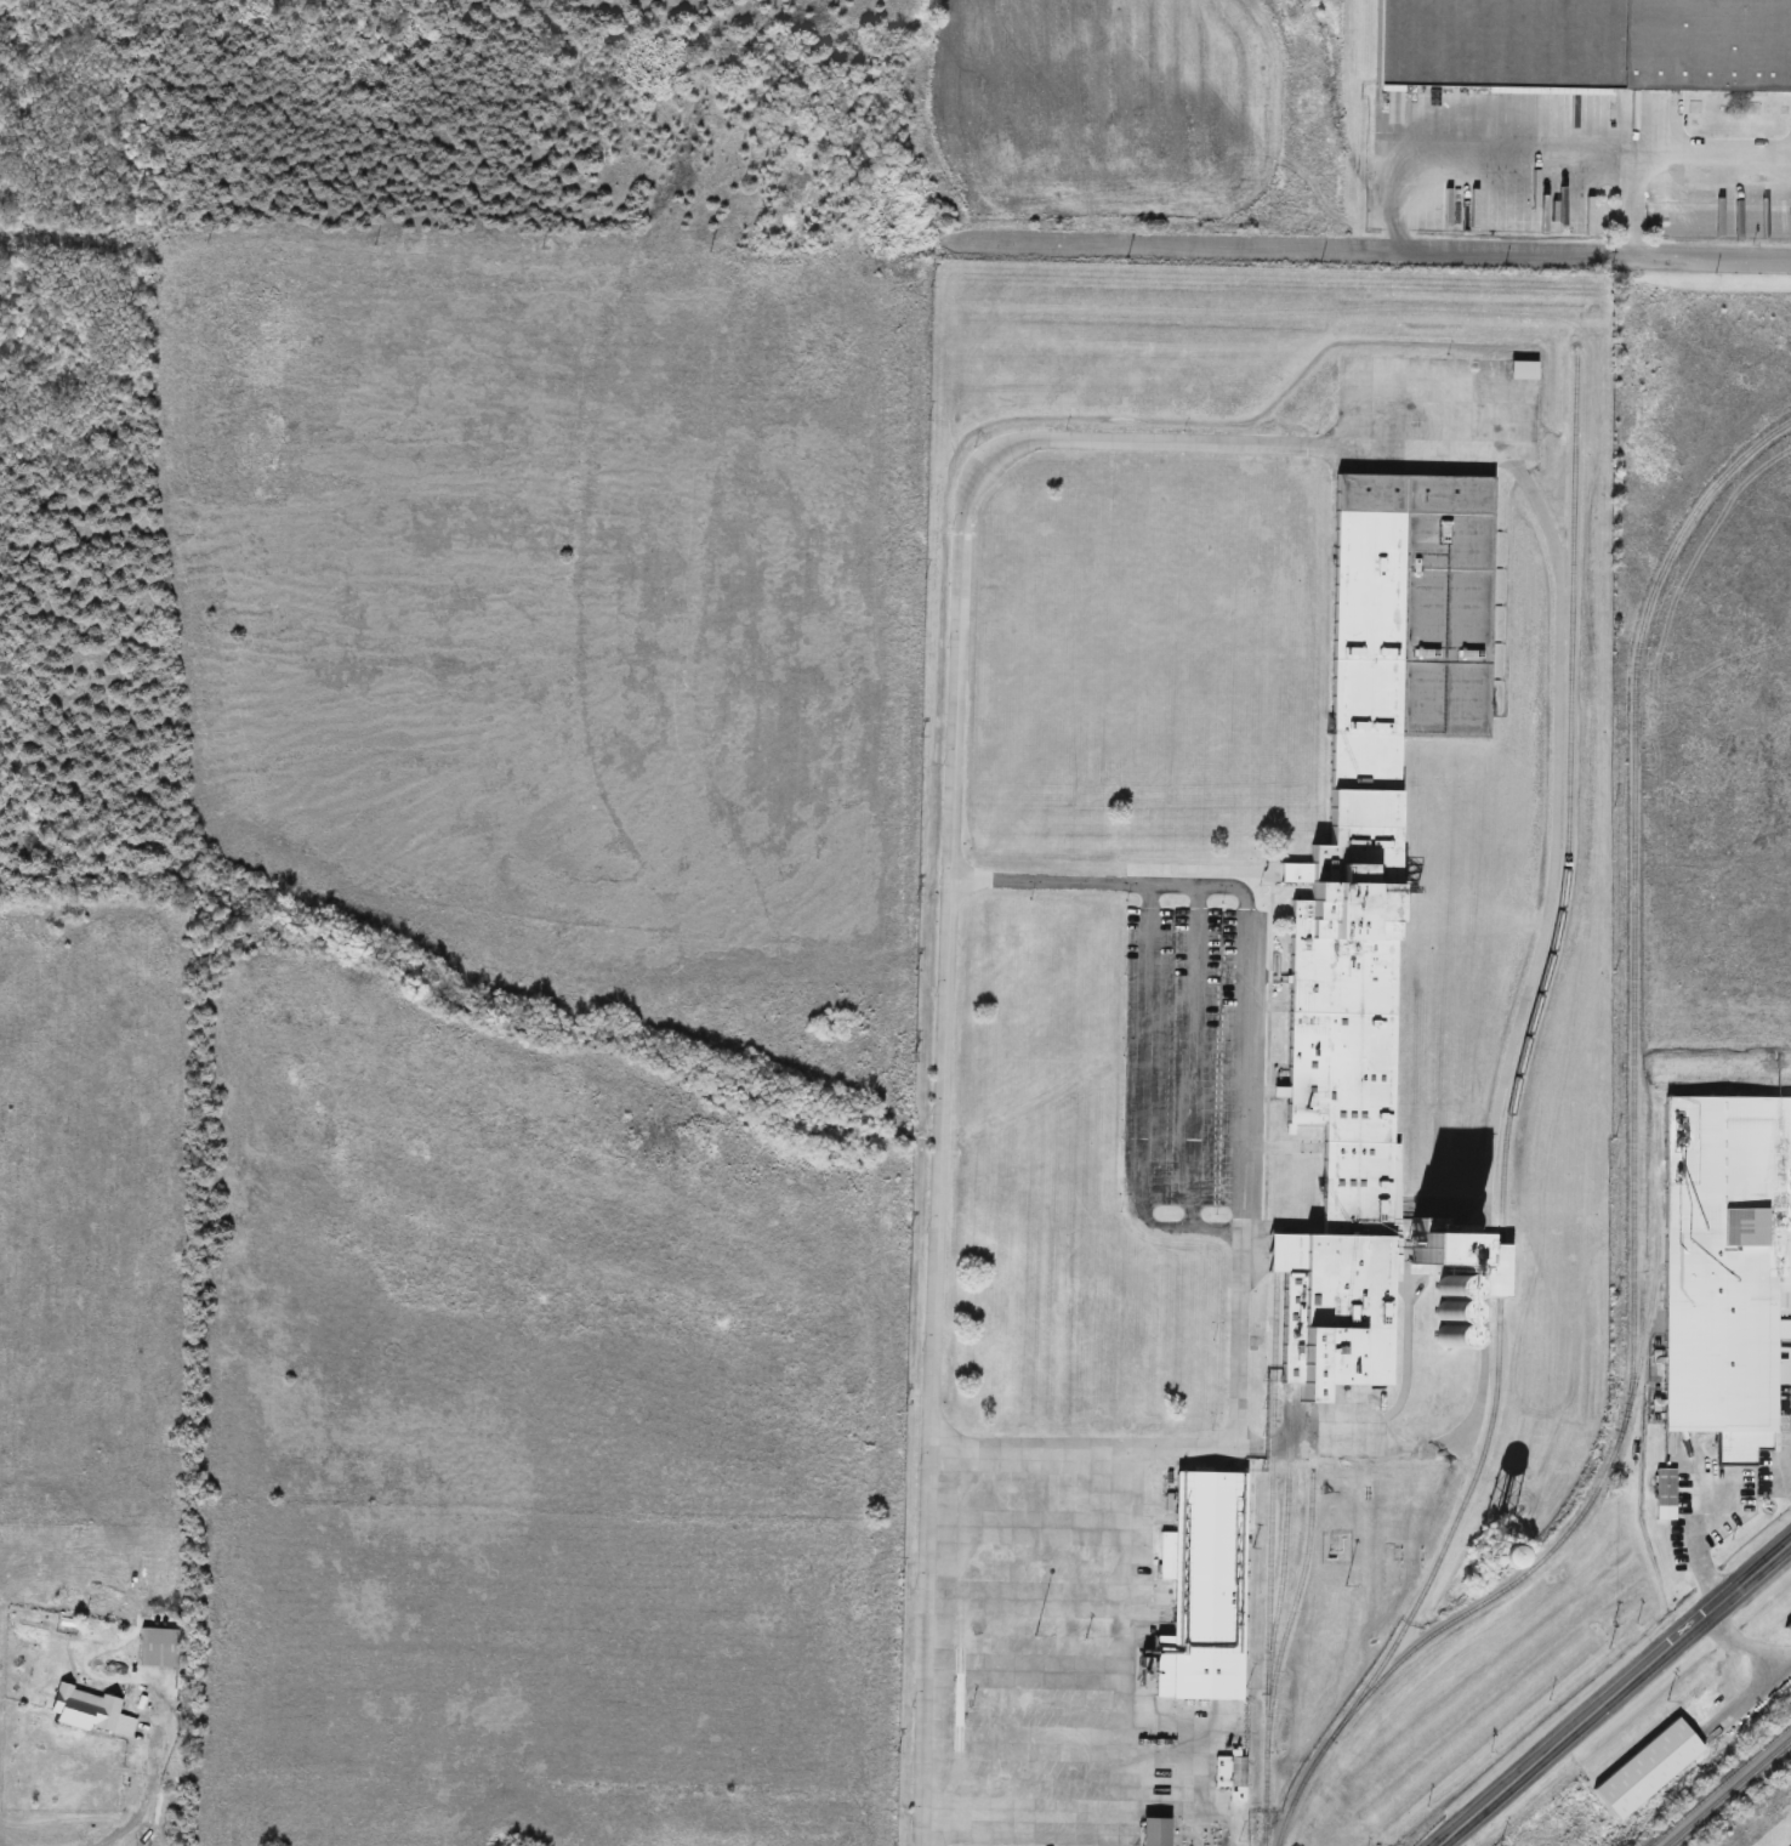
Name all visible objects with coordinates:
building: (1584, 45)
road: (1516, 167)
road: (1670, 170)
road: (1369, 252)
road: (1501, 447)
road: (1109, 870)
road: (944, 945)
railway: (1525, 1061)
railway: (1636, 1177)
road: (1236, 1232)
building: (1724, 1267)
road: (1186, 1448)
building: (1666, 1495)
railway: (1289, 1541)
building: (1468, 1554)
railway: (1274, 1561)
building: (1204, 1590)
railway: (1296, 1608)
building: (158, 1648)
road: (1616, 1696)
power tower: (1666, 1705)
building: (91, 1712)
road: (1131, 1731)
building: (1239, 1773)
railway: (1723, 1788)
railway: (1732, 1795)
road: (146, 1800)
building: (1154, 1831)

